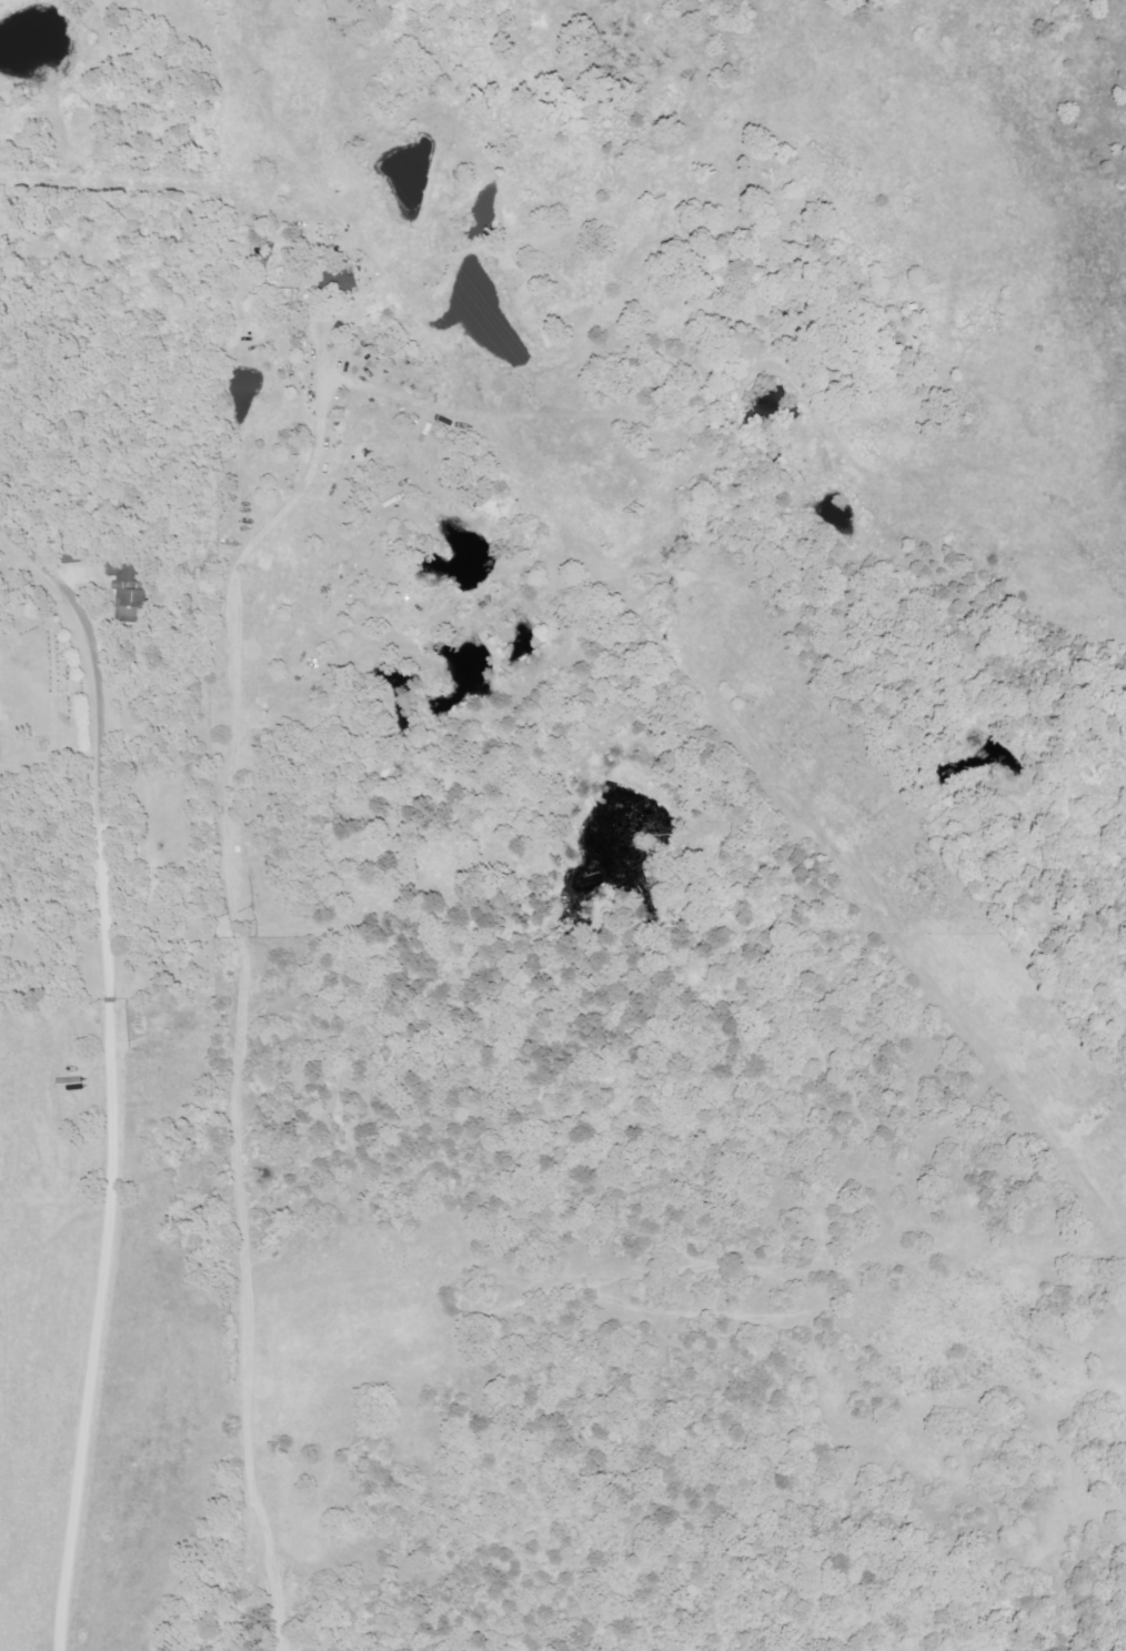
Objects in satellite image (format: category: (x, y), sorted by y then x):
power tower: (359, 147)
power tower: (639, 512)
building: (134, 601)
power tower: (918, 878)
road: (237, 887)
road: (99, 1035)

